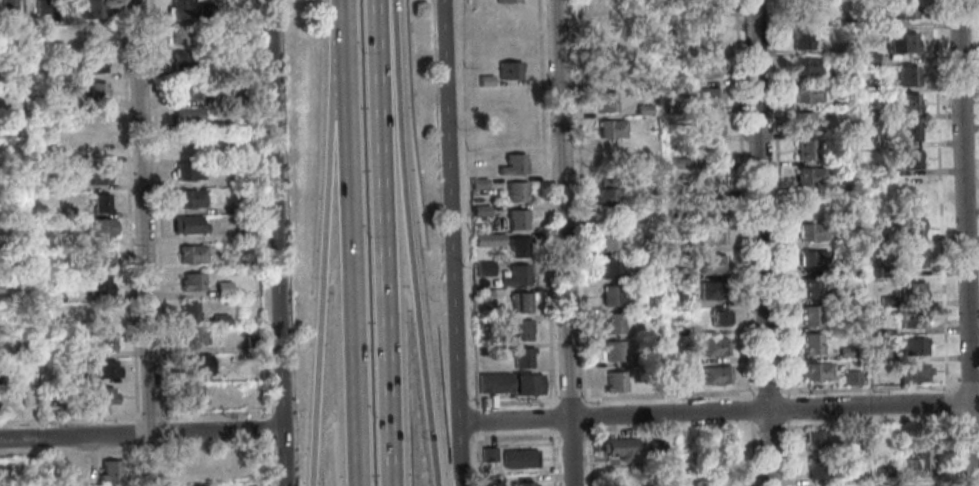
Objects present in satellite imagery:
building: (508, 0)
building: (607, 0)
building: (7, 5)
building: (41, 7)
building: (92, 9)
building: (178, 9)
building: (907, 9)
building: (205, 12)
building: (708, 14)
building: (509, 18)
building: (603, 18)
building: (868, 21)
building: (95, 34)
building: (179, 36)
building: (802, 38)
building: (710, 42)
building: (902, 42)
building: (870, 58)
building: (185, 60)
building: (94, 64)
building: (807, 65)
building: (240, 68)
building: (708, 69)
building: (511, 70)
building: (606, 73)
building: (841, 73)
building: (908, 75)
building: (485, 79)
building: (642, 79)
building: (870, 85)
building: (184, 90)
building: (95, 92)
building: (807, 93)
building: (243, 95)
building: (707, 96)
building: (607, 100)
building: (843, 101)
building: (63, 102)
building: (908, 102)
building: (643, 108)
building: (871, 113)
building: (187, 116)
building: (94, 118)
building: (805, 121)
building: (711, 125)
building: (11, 128)
building: (610, 128)
building: (910, 130)
building: (184, 143)
building: (99, 147)
building: (804, 149)
building: (712, 152)
building: (912, 158)
building: (680, 163)
building: (513, 164)
building: (874, 168)
building: (189, 171)
building: (98, 175)
building: (810, 175)
building: (712, 181)
building: (478, 182)
building: (678, 185)
building: (517, 191)
road: (940, 194)
road: (778, 197)
building: (609, 198)
road: (743, 198)
building: (189, 199)
road: (582, 201)
road: (545, 202)
building: (100, 203)
building: (808, 204)
building: (245, 205)
building: (711, 208)
building: (480, 209)
building: (63, 211)
road: (127, 211)
road: (156, 211)
building: (35, 214)
building: (517, 219)
building: (187, 226)
building: (913, 228)
building: (100, 229)
building: (811, 231)
building: (241, 233)
building: (712, 235)
building: (882, 238)
building: (488, 239)
building: (610, 240)
road: (276, 242)
road: (331, 242)
road: (143, 243)
road: (358, 243)
road: (386, 243)
road: (410, 243)
road: (451, 243)
road: (563, 243)
road: (761, 243)
road: (965, 243)
building: (678, 245)
building: (518, 246)
building: (191, 255)
building: (96, 257)
building: (914, 257)
building: (811, 259)
building: (712, 264)
building: (484, 267)
building: (609, 267)
building: (57, 269)
building: (886, 270)
building: (679, 271)
building: (516, 275)
building: (190, 282)
building: (99, 286)
building: (812, 288)
building: (222, 289)
building: (709, 290)
building: (913, 290)
building: (849, 291)
building: (482, 294)
building: (612, 294)
building: (54, 296)
building: (680, 300)
building: (885, 300)
building: (522, 301)
building: (187, 311)
building: (810, 315)
building: (916, 317)
building: (718, 318)
building: (218, 319)
building: (482, 319)
building: (613, 322)
building: (682, 327)
building: (518, 329)
building: (192, 336)
building: (102, 341)
building: (811, 343)
building: (251, 344)
building: (715, 346)
building: (913, 346)
building: (612, 350)
building: (846, 351)
building: (878, 353)
building: (524, 357)
building: (649, 359)
building: (194, 366)
building: (103, 369)
building: (815, 371)
building: (914, 371)
building: (678, 373)
building: (716, 374)
building: (851, 378)
building: (78, 379)
building: (0, 380)
building: (614, 381)
building: (509, 383)
building: (655, 383)
road: (968, 383)
road: (869, 387)
road: (767, 390)
building: (191, 394)
road: (668, 395)
street lamp: (753, 395)
building: (101, 396)
road: (569, 398)
road: (512, 400)
road: (948, 400)
road: (785, 407)
road: (750, 409)
road: (718, 411)
road: (205, 413)
road: (148, 416)
road: (588, 416)
road: (553, 417)
road: (69, 418)
road: (969, 418)
road: (253, 419)
road: (474, 420)
road: (870, 423)
road: (164, 427)
road: (767, 427)
road: (669, 430)
road: (570, 432)
road: (135, 434)
road: (140, 434)
road: (514, 435)
building: (817, 440)
building: (655, 446)
building: (617, 448)
road: (949, 448)
road: (145, 451)
road: (70, 453)
road: (786, 453)
road: (751, 454)
building: (487, 455)
road: (554, 457)
road: (588, 457)
building: (919, 457)
building: (517, 458)
building: (199, 465)
road: (136, 466)
building: (818, 468)
building: (27, 469)
building: (107, 471)
building: (882, 473)
road: (976, 474)
building: (853, 478)
building: (492, 479)
building: (520, 484)
building: (919, 484)
building: (722, 485)
building: (815, 485)

